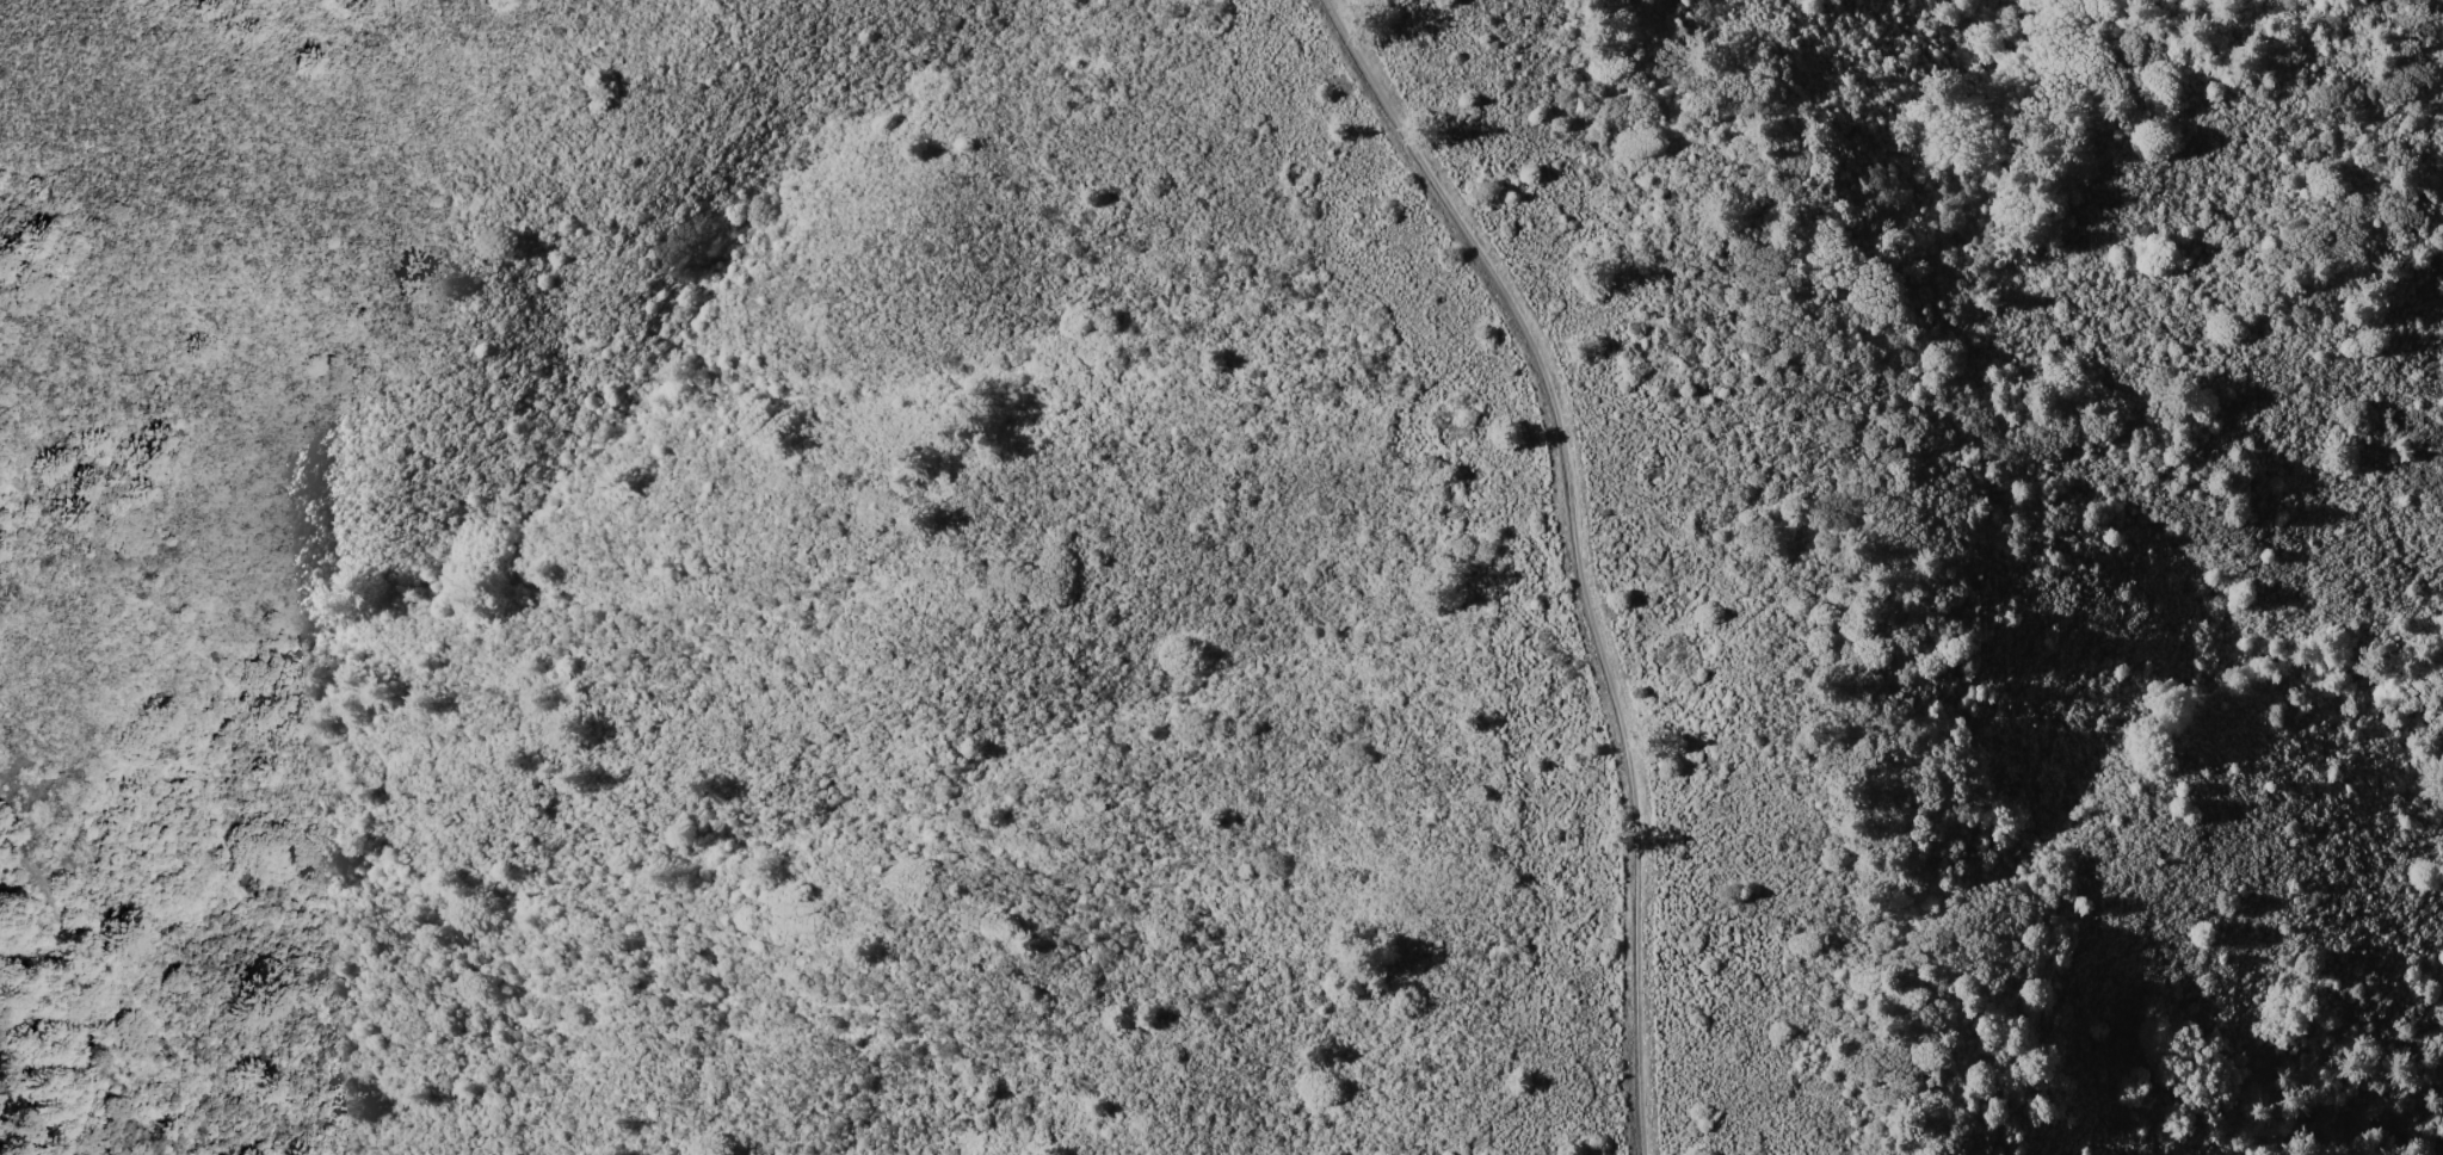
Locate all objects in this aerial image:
road: (1579, 550)

